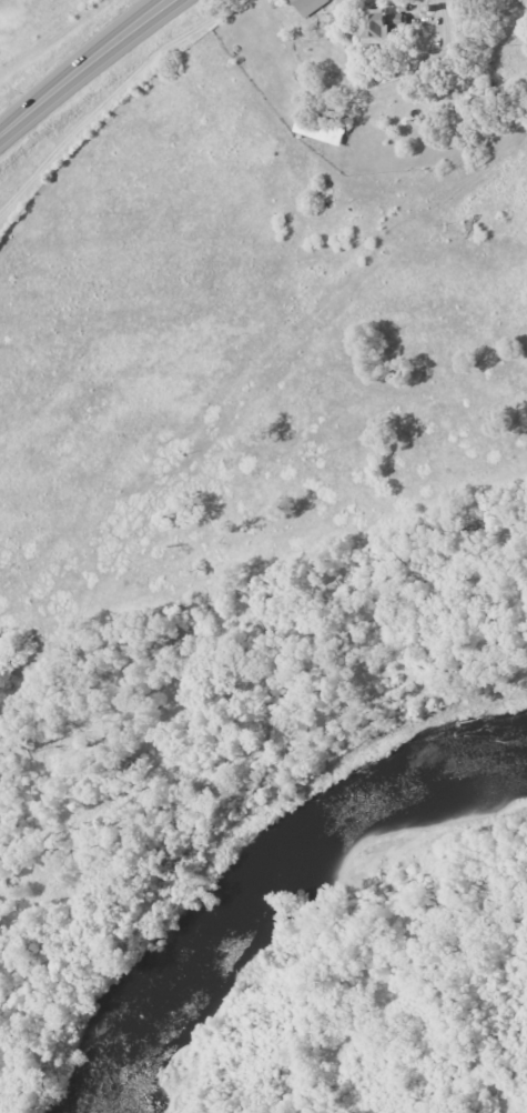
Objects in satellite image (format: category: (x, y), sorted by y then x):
building: (308, 6)
building: (376, 27)
road: (81, 67)
road: (166, 221)
river: (271, 892)

